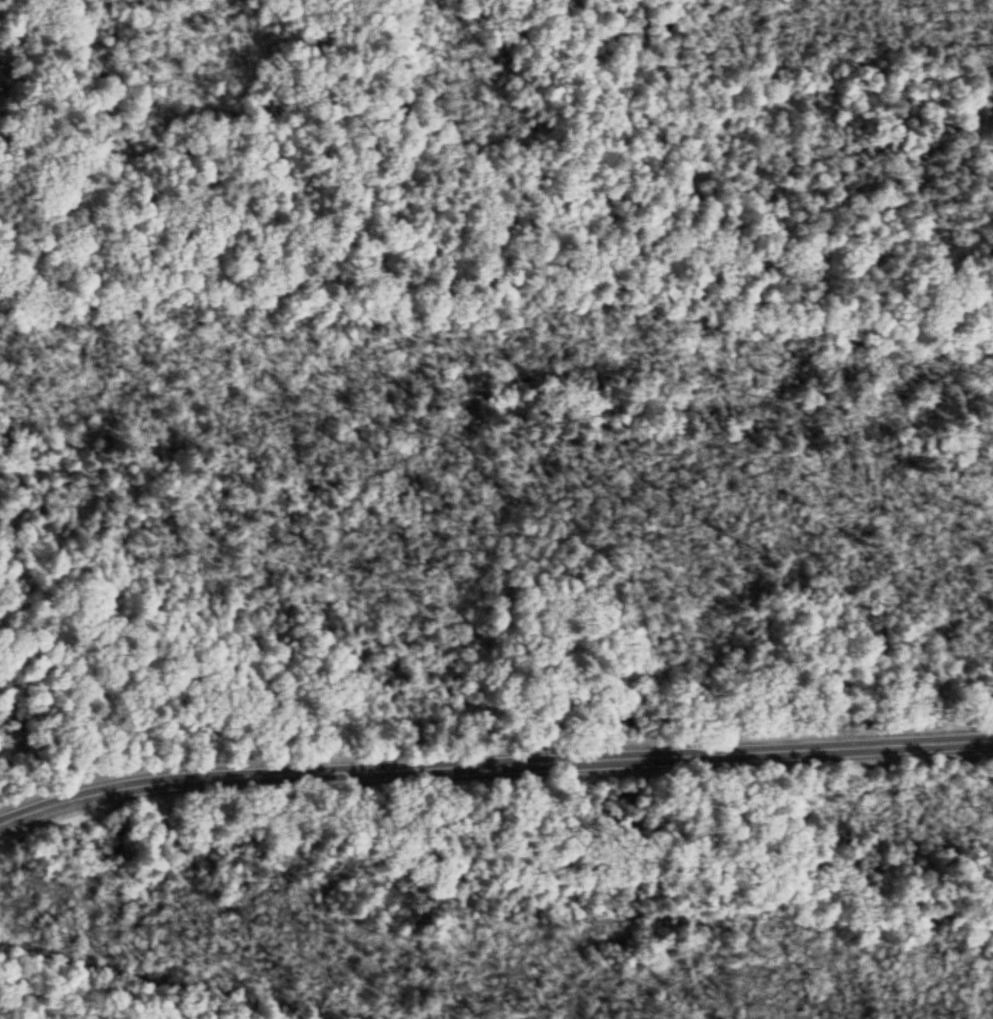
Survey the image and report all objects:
road: (493, 767)

